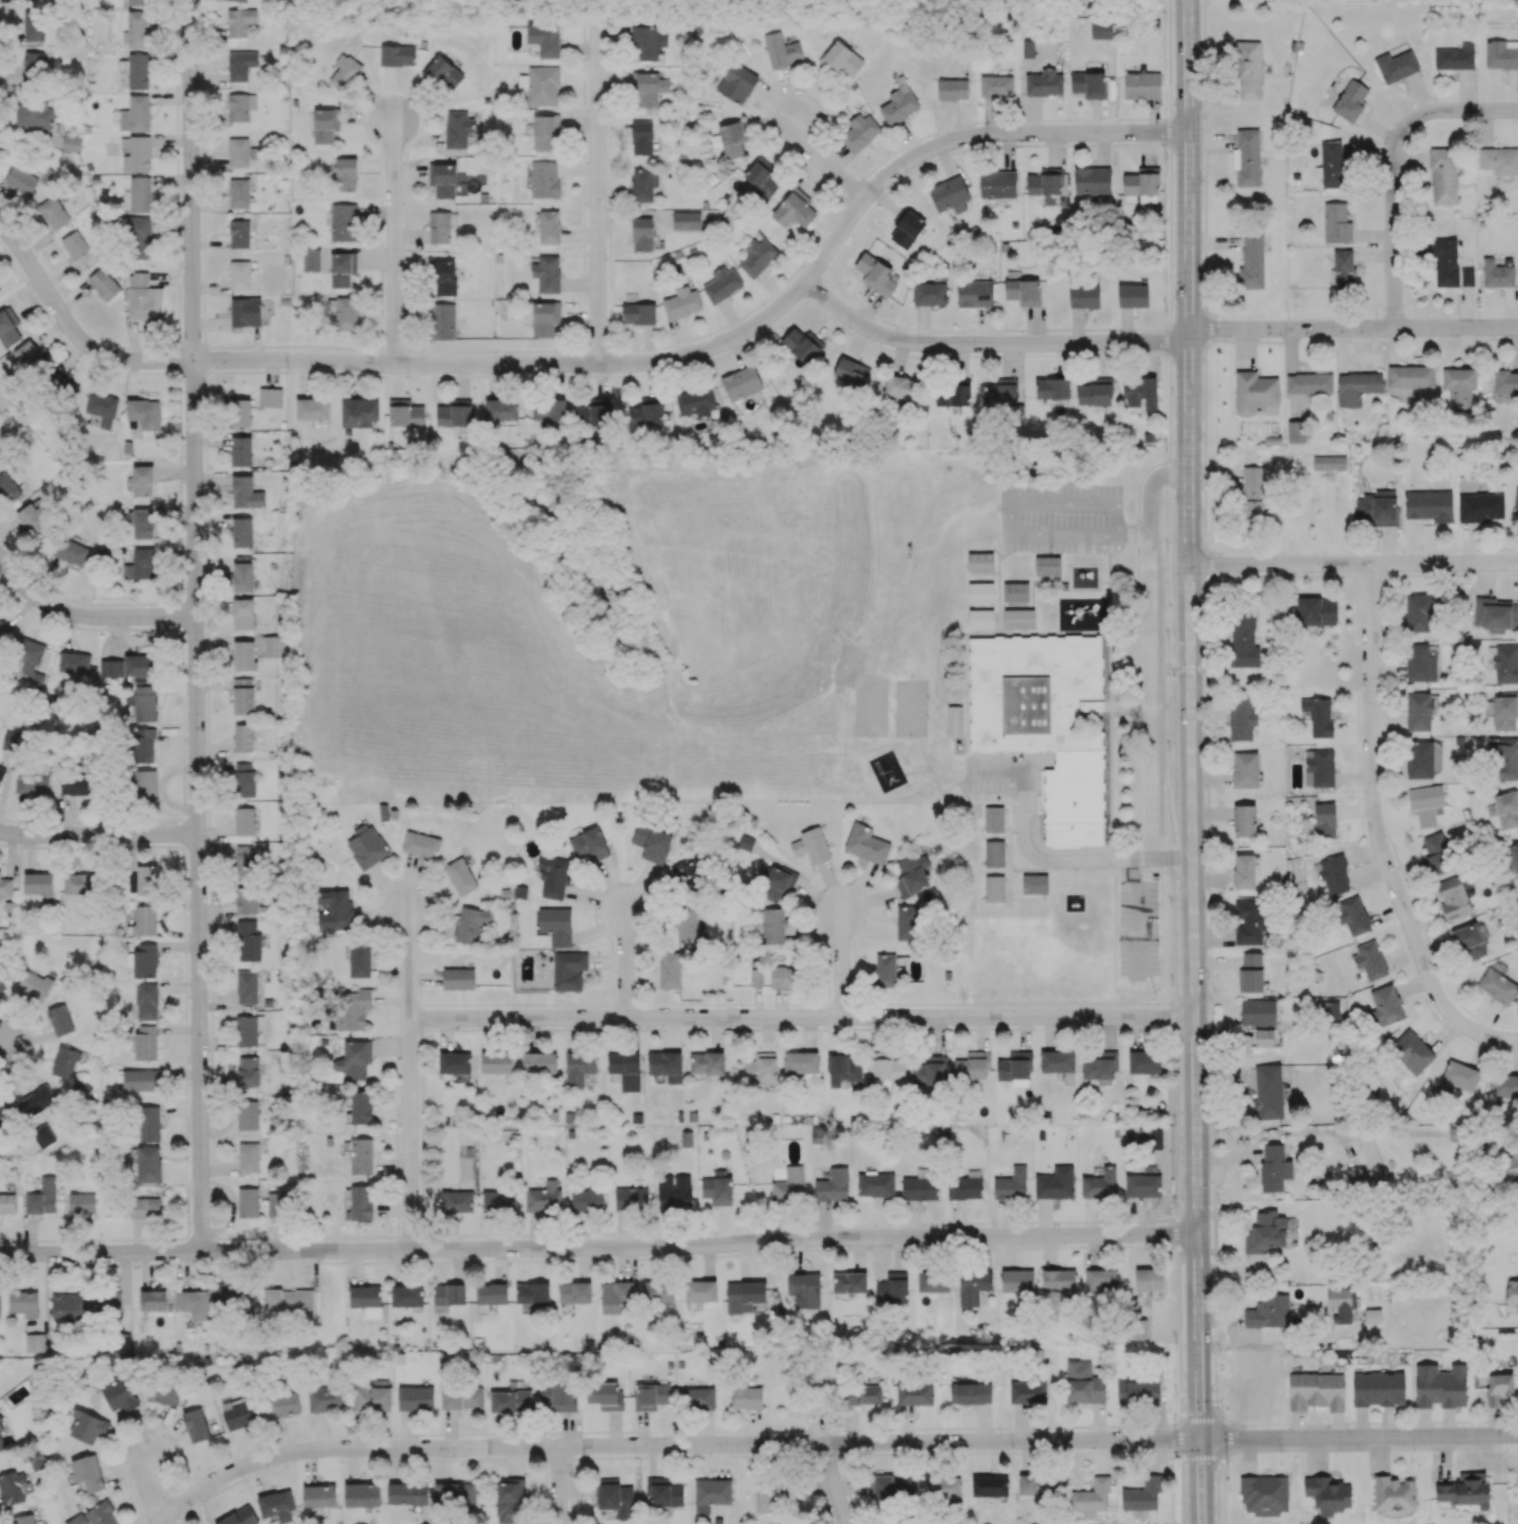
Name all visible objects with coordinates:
building: (235, 0)
building: (137, 2)
building: (240, 21)
building: (33, 25)
building: (137, 29)
building: (1101, 29)
building: (545, 41)
building: (647, 43)
building: (1028, 49)
building: (781, 51)
building: (1501, 54)
building: (397, 55)
building: (1455, 57)
building: (843, 59)
building: (32, 65)
building: (240, 65)
building: (1396, 66)
building: (138, 70)
building: (1248, 70)
building: (344, 72)
building: (444, 73)
building: (736, 82)
building: (1044, 83)
building: (1088, 84)
building: (541, 85)
building: (996, 85)
building: (1142, 85)
building: (649, 88)
building: (952, 89)
building: (1351, 100)
building: (899, 105)
building: (240, 106)
building: (34, 114)
building: (135, 114)
building: (325, 125)
building: (457, 129)
building: (861, 131)
building: (642, 137)
building: (732, 139)
building: (71, 144)
building: (238, 151)
building: (137, 155)
building: (1247, 157)
road: (821, 161)
building: (1499, 161)
building: (1330, 164)
road: (1392, 169)
building: (346, 174)
building: (1443, 176)
road: (193, 179)
building: (544, 179)
building: (763, 179)
building: (443, 180)
building: (1092, 180)
building: (20, 181)
building: (1045, 182)
building: (1141, 182)
building: (643, 184)
building: (998, 184)
building: (238, 193)
building: (139, 194)
building: (949, 195)
road: (598, 196)
building: (794, 210)
building: (53, 213)
building: (687, 221)
building: (343, 222)
building: (1336, 223)
building: (549, 226)
building: (439, 227)
building: (906, 228)
building: (239, 233)
building: (642, 234)
building: (139, 237)
road: (393, 242)
building: (74, 245)
building: (757, 255)
building: (311, 259)
building: (1252, 261)
building: (1449, 264)
building: (342, 269)
building: (1342, 269)
building: (547, 274)
building: (877, 274)
building: (1497, 274)
building: (239, 275)
building: (445, 278)
building: (103, 284)
building: (722, 284)
building: (1023, 292)
building: (974, 293)
building: (929, 294)
building: (1084, 296)
building: (1133, 296)
building: (142, 297)
building: (682, 303)
building: (245, 311)
building: (346, 313)
building: (638, 313)
building: (545, 318)
building: (442, 321)
building: (7, 326)
road: (1352, 328)
road: (73, 335)
road: (730, 340)
road: (1165, 340)
road: (987, 346)
building: (801, 347)
building: (28, 355)
building: (851, 372)
building: (1411, 376)
building: (1505, 382)
building: (741, 383)
building: (1309, 383)
building: (61, 386)
building: (900, 387)
building: (1357, 387)
building: (1459, 387)
building: (1052, 390)
building: (1000, 392)
building: (1095, 392)
building: (1140, 393)
building: (951, 395)
building: (269, 397)
building: (696, 402)
road: (1169, 405)
building: (102, 409)
building: (311, 409)
building: (500, 409)
building: (138, 412)
building: (358, 412)
building: (549, 412)
building: (646, 412)
building: (239, 413)
building: (593, 413)
building: (454, 414)
building: (404, 416)
building: (1296, 432)
building: (241, 451)
building: (1329, 462)
road: (1169, 471)
building: (142, 480)
road: (1140, 481)
building: (1253, 482)
building: (8, 487)
road: (1150, 490)
building: (245, 493)
building: (1516, 499)
road: (1011, 503)
building: (1429, 505)
building: (1480, 507)
building: (1377, 508)
building: (1254, 511)
building: (34, 518)
parking lot: (1060, 519)
building: (142, 524)
building: (242, 532)
road: (1137, 533)
road: (1131, 535)
building: (979, 537)
building: (70, 552)
building: (980, 564)
building: (140, 565)
building: (1016, 567)
building: (1048, 569)
road: (1332, 570)
road: (1496, 570)
building: (242, 576)
park: (735, 581)
building: (1016, 593)
building: (980, 594)
building: (1316, 611)
building: (243, 613)
building: (1418, 613)
building: (1496, 614)
road: (87, 618)
building: (981, 620)
building: (1019, 620)
building: (4, 631)
building: (1243, 638)
building: (272, 646)
building: (243, 655)
road: (1163, 660)
building: (29, 661)
building: (74, 662)
building: (1420, 663)
building: (1504, 663)
building: (140, 665)
building: (111, 668)
road: (1188, 668)
traffic signals: (1190, 668)
road: (1169, 669)
road: (1109, 683)
building: (242, 695)
road: (1137, 697)
road: (1151, 697)
building: (144, 703)
road: (1123, 705)
road: (1150, 706)
park: (910, 708)
building: (1419, 711)
building: (1505, 711)
building: (1041, 713)
building: (1318, 716)
building: (1241, 718)
building: (954, 722)
building: (243, 737)
building: (10, 740)
road: (1370, 741)
building: (142, 745)
building: (1423, 758)
building: (1504, 758)
road: (1033, 762)
road: (1190, 762)
building: (1321, 768)
building: (1245, 770)
building: (2, 773)
road: (997, 775)
parking lot: (1000, 775)
building: (244, 779)
building: (33, 780)
building: (76, 784)
building: (146, 784)
building: (1425, 803)
road: (199, 806)
building: (1505, 809)
building: (244, 820)
building: (1244, 820)
building: (993, 821)
building: (1323, 821)
road: (1097, 831)
road: (99, 838)
building: (652, 842)
building: (866, 844)
building: (588, 845)
building: (811, 845)
building: (366, 846)
building: (421, 846)
building: (1437, 852)
building: (994, 855)
road: (1042, 856)
road: (1140, 856)
building: (1514, 856)
road: (1173, 857)
road: (1075, 858)
road: (1141, 859)
road: (1171, 859)
building: (244, 862)
building: (0, 871)
road: (1155, 871)
building: (1244, 871)
building: (1334, 873)
building: (913, 874)
road: (1075, 874)
building: (686, 875)
building: (460, 876)
building: (553, 876)
building: (147, 879)
building: (38, 883)
building: (778, 883)
building: (79, 884)
building: (1034, 884)
building: (5, 887)
building: (993, 889)
building: (1453, 897)
building: (246, 899)
building: (335, 910)
building: (1352, 915)
road: (1138, 917)
building: (144, 920)
building: (687, 921)
building: (908, 922)
building: (1249, 922)
building: (469, 924)
building: (555, 925)
building: (773, 926)
parking lot: (1137, 931)
road: (1175, 937)
building: (248, 941)
building: (1469, 942)
building: (359, 960)
building: (1369, 960)
road: (625, 961)
road: (839, 964)
building: (568, 970)
building: (670, 970)
building: (885, 970)
building: (1252, 972)
building: (756, 977)
building: (783, 977)
building: (458, 978)
building: (2, 980)
building: (33, 984)
building: (1498, 986)
building: (246, 987)
road: (1440, 996)
building: (146, 1001)
building: (1384, 1006)
building: (350, 1007)
building: (1330, 1011)
building: (1259, 1012)
road: (1173, 1016)
building: (62, 1017)
road: (801, 1018)
building: (248, 1029)
building: (1264, 1038)
building: (145, 1042)
road: (3, 1044)
building: (1411, 1051)
building: (354, 1059)
building: (65, 1061)
building: (1057, 1061)
building: (497, 1062)
building: (540, 1062)
building: (801, 1062)
building: (1144, 1062)
building: (454, 1063)
building: (666, 1065)
building: (707, 1065)
building: (972, 1066)
building: (1015, 1066)
building: (1100, 1066)
building: (579, 1068)
building: (761, 1068)
building: (625, 1069)
building: (843, 1070)
building: (886, 1070)
building: (248, 1071)
building: (930, 1071)
building: (1458, 1077)
road: (410, 1078)
building: (139, 1079)
building: (1505, 1085)
building: (1268, 1092)
building: (39, 1099)
building: (360, 1106)
building: (4, 1110)
building: (247, 1115)
building: (149, 1123)
building: (43, 1135)
road: (1328, 1136)
building: (1150, 1138)
building: (361, 1156)
building: (248, 1157)
building: (148, 1164)
building: (1512, 1166)
building: (1274, 1168)
building: (1055, 1183)
building: (832, 1184)
building: (875, 1184)
building: (1011, 1184)
building: (1100, 1184)
building: (789, 1185)
building: (920, 1185)
building: (1143, 1185)
building: (965, 1186)
building: (717, 1190)
building: (674, 1191)
building: (42, 1197)
building: (544, 1197)
building: (631, 1198)
building: (587, 1199)
building: (457, 1201)
building: (498, 1201)
building: (247, 1202)
building: (361, 1202)
building: (7, 1203)
building: (81, 1203)
building: (277, 1204)
building: (144, 1208)
building: (1264, 1232)
road: (597, 1248)
building: (1058, 1279)
building: (1101, 1279)
building: (1149, 1279)
building: (933, 1281)
building: (1017, 1281)
building: (849, 1283)
building: (973, 1286)
building: (892, 1287)
building: (803, 1288)
building: (658, 1291)
building: (700, 1291)
building: (575, 1292)
building: (491, 1293)
building: (1511, 1293)
building: (448, 1294)
building: (532, 1294)
building: (743, 1294)
building: (407, 1295)
building: (616, 1296)
building: (153, 1300)
building: (366, 1300)
building: (106, 1301)
building: (235, 1301)
building: (289, 1301)
building: (23, 1303)
building: (193, 1303)
building: (1341, 1303)
building: (0, 1305)
building: (1268, 1311)
building: (1372, 1316)
building: (1136, 1329)
road: (1234, 1333)
building: (34, 1342)
road: (1286, 1344)
building: (1083, 1383)
building: (1440, 1386)
building: (1498, 1387)
building: (1378, 1389)
building: (1316, 1391)
building: (1027, 1392)
building: (1138, 1392)
building: (162, 1393)
building: (970, 1393)
building: (119, 1394)
building: (863, 1394)
building: (914, 1394)
building: (559, 1396)
building: (605, 1396)
building: (650, 1396)
building: (746, 1396)
building: (326, 1398)
building: (415, 1398)
building: (462, 1398)
building: (698, 1398)
building: (372, 1399)
building: (510, 1401)
building: (282, 1404)
building: (239, 1413)
building: (1, 1419)
building: (195, 1425)
building: (87, 1426)
road: (1358, 1438)
building: (3, 1439)
traffic signals: (1198, 1440)
road: (670, 1445)
building: (87, 1474)
road: (834, 1483)
building: (1038, 1484)
road: (558, 1485)
road: (151, 1486)
building: (891, 1486)
building: (942, 1486)
building: (989, 1486)
building: (12, 1488)
building: (1465, 1492)
building: (407, 1493)
building: (454, 1493)
building: (664, 1493)
building: (361, 1494)
building: (711, 1494)
building: (770, 1494)
building: (1264, 1494)
building: (1328, 1494)
building: (1394, 1494)
building: (319, 1496)
building: (1142, 1496)
building: (615, 1498)
building: (1091, 1498)
building: (509, 1500)
building: (276, 1506)
building: (95, 1515)
building: (240, 1517)
building: (23, 1519)

